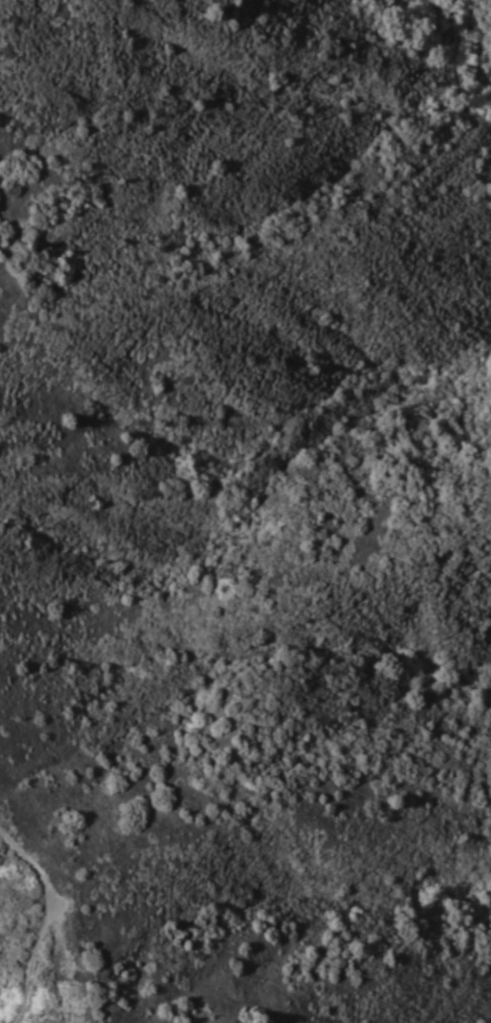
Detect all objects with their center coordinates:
road: (46, 920)

